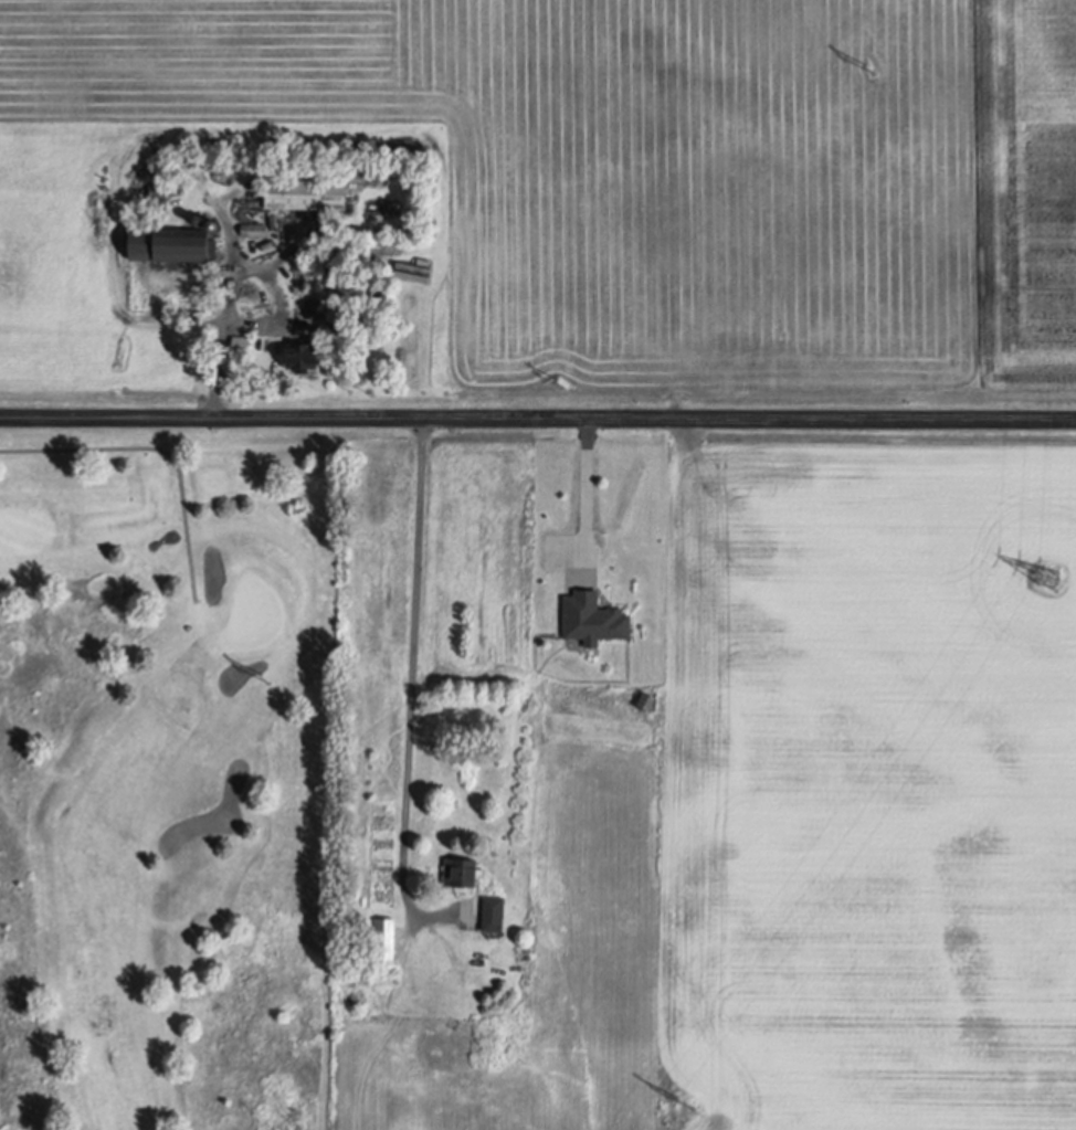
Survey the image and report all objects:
power tower: (871, 68)
building: (156, 191)
building: (305, 194)
building: (130, 203)
building: (273, 220)
building: (199, 221)
building: (213, 225)
building: (253, 230)
building: (305, 231)
building: (171, 244)
building: (312, 308)
road: (223, 314)
building: (241, 345)
building: (302, 357)
power tower: (560, 386)
road: (537, 414)
road: (583, 496)
power tower: (1051, 582)
building: (592, 619)
power tower: (267, 682)
road: (411, 685)
park: (166, 779)
building: (462, 873)
building: (493, 915)
building: (383, 942)
power tower: (687, 1103)

